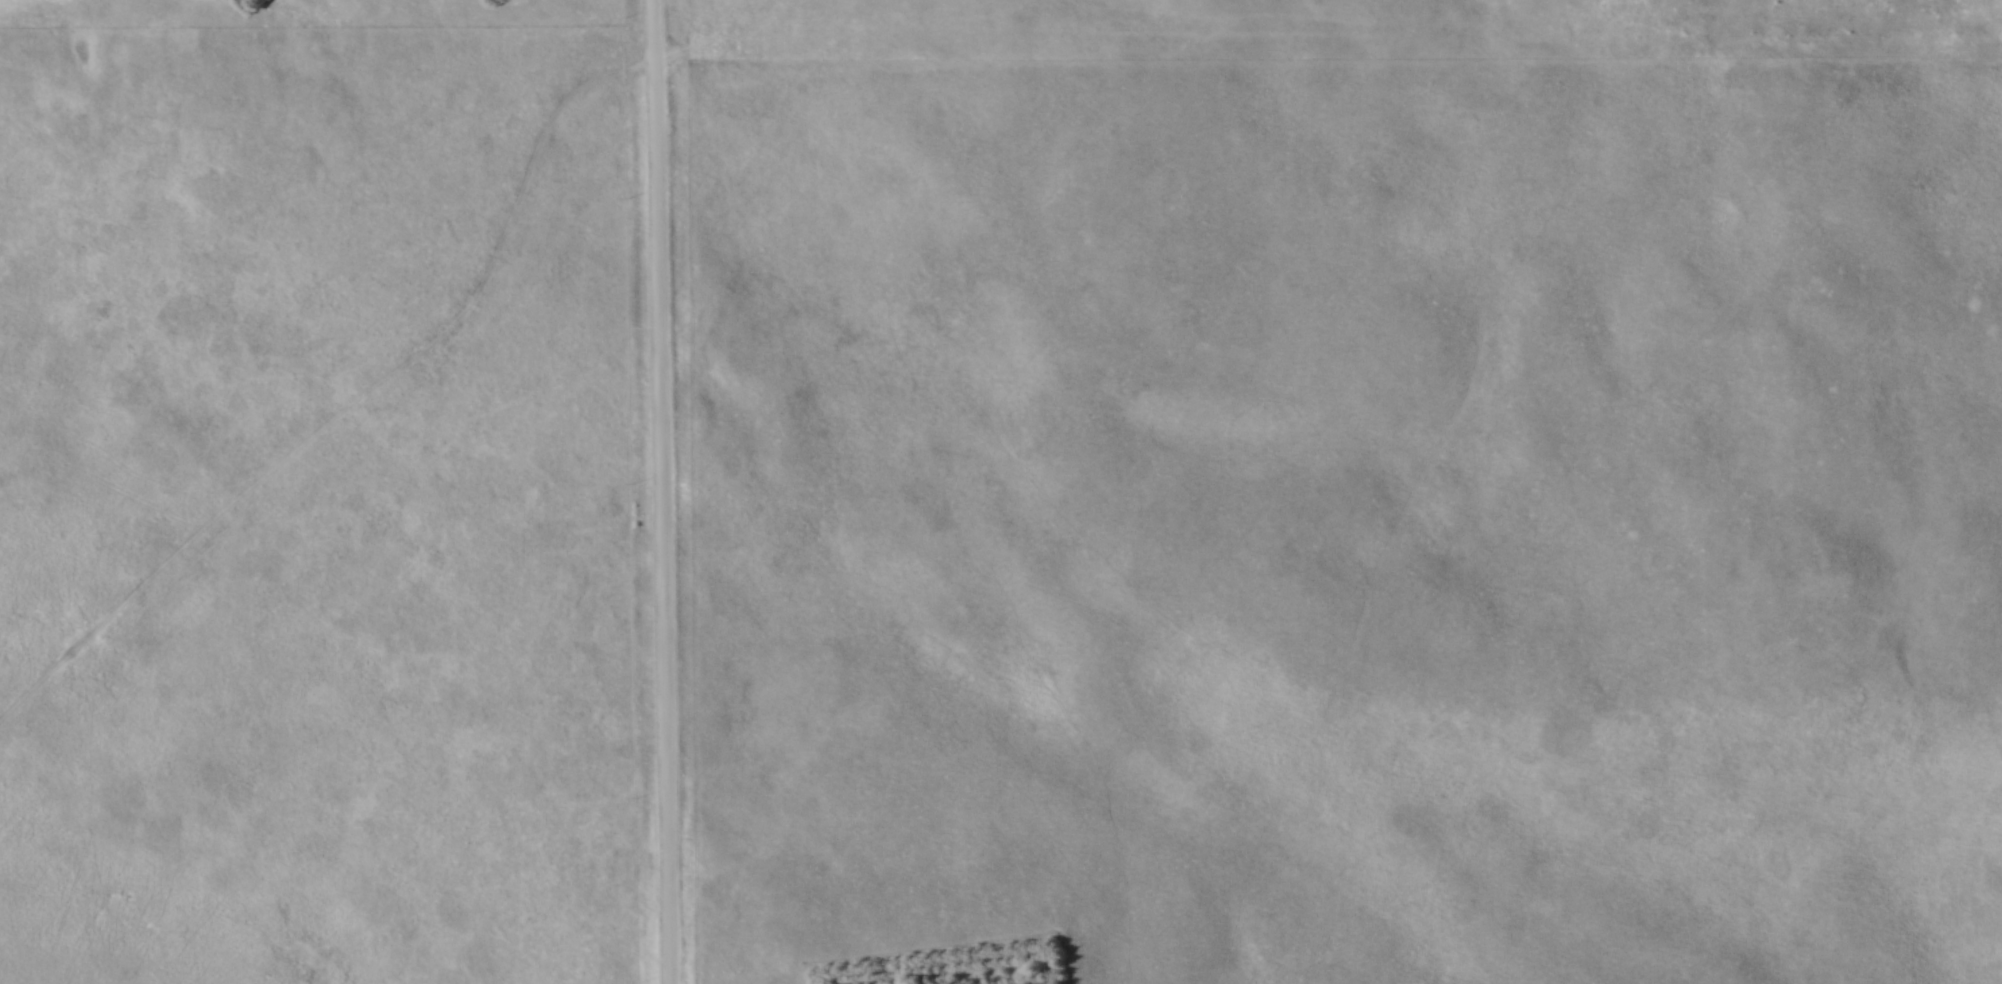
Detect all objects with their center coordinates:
road: (351, 402)
road: (661, 491)

